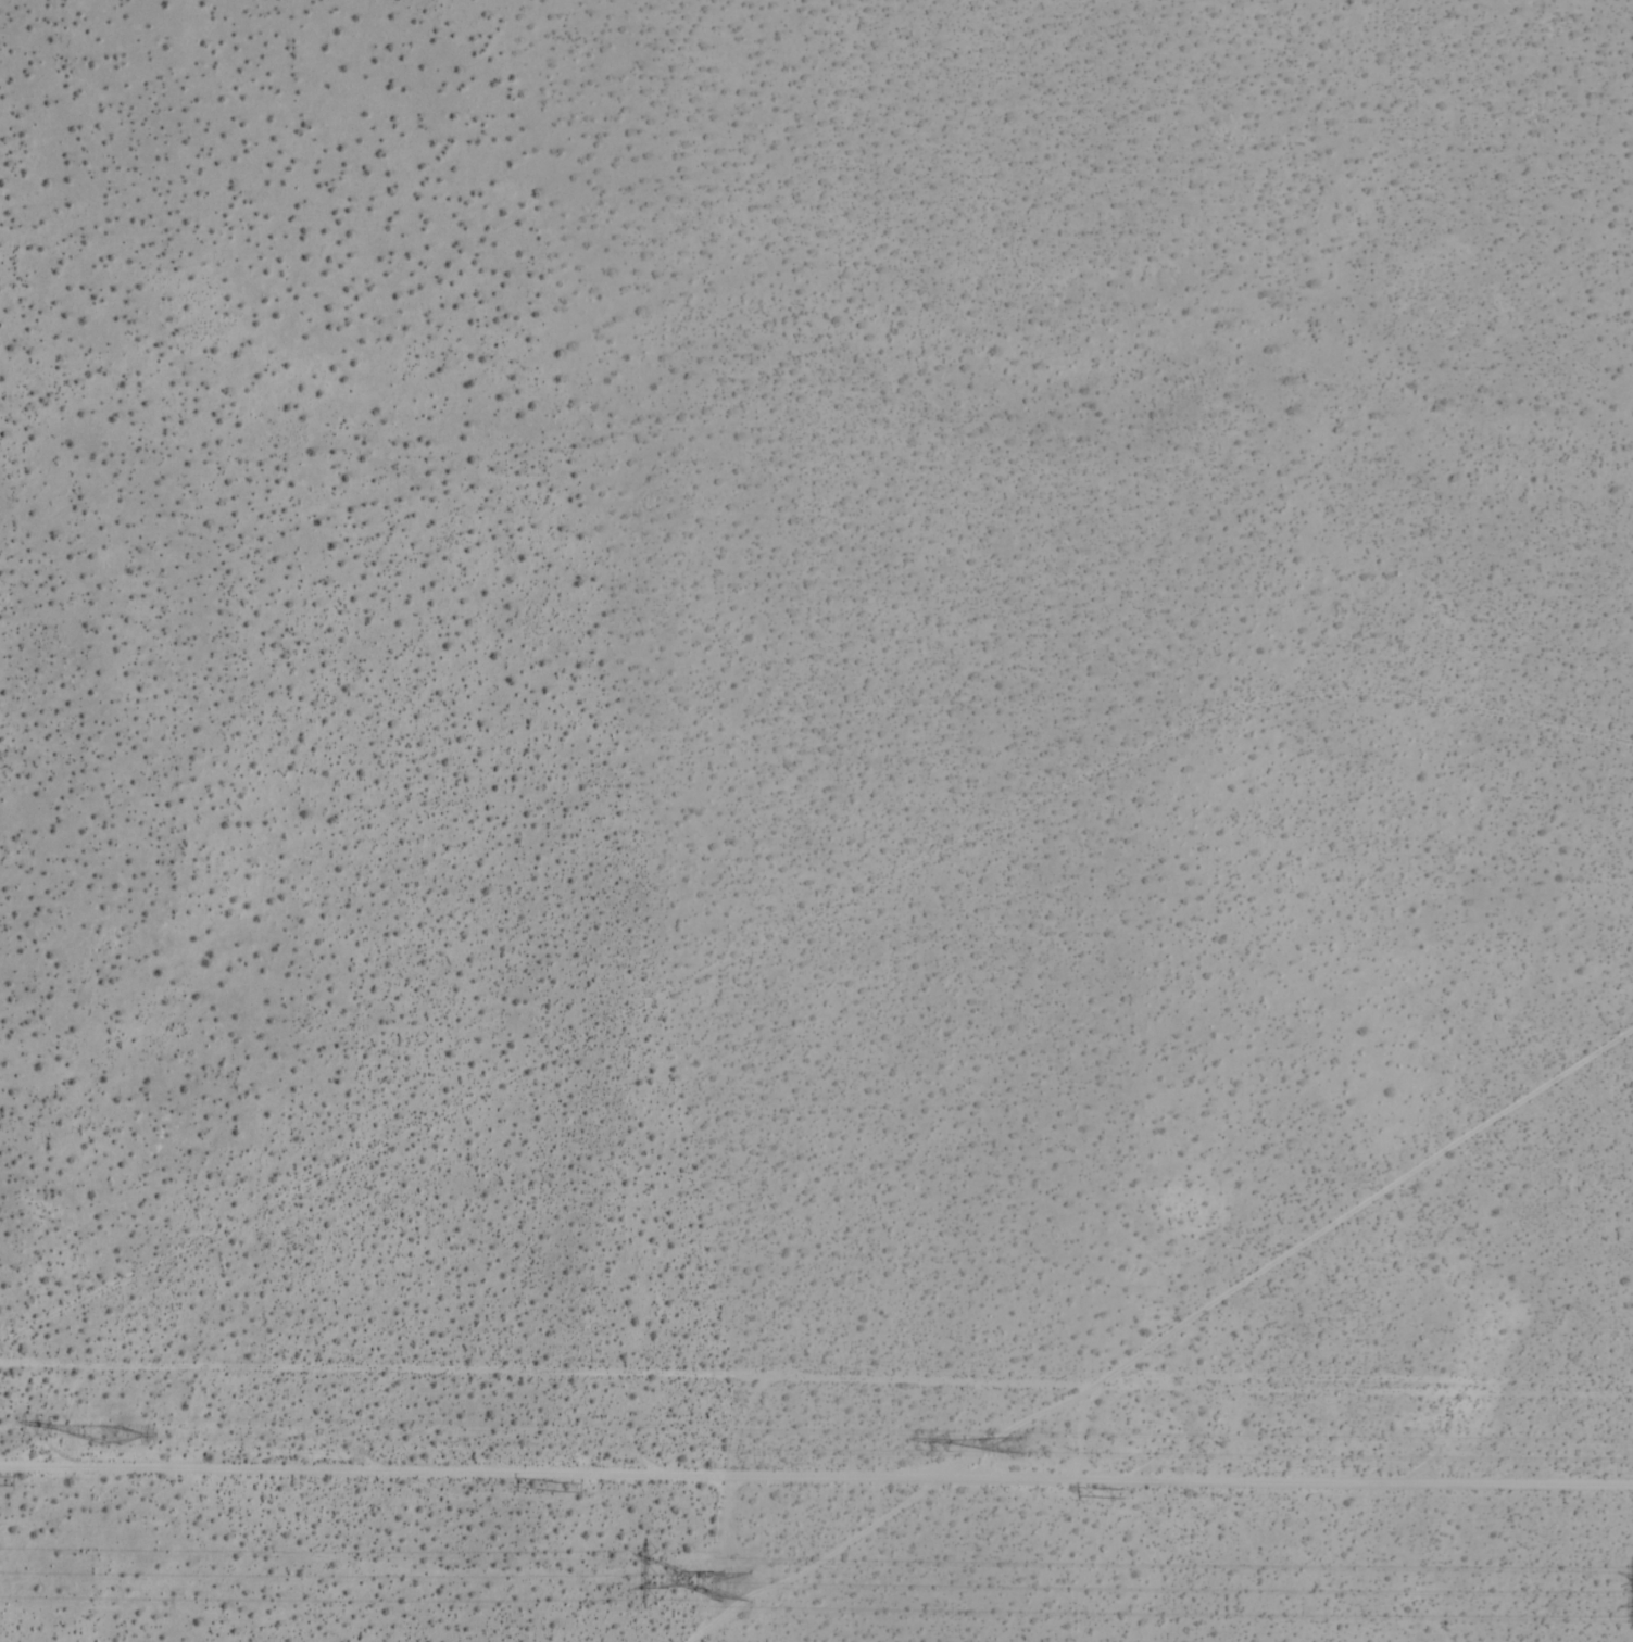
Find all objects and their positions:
road: (1163, 1332)
power tower: (110, 1436)
power tower: (1043, 1455)
road: (816, 1478)
power tower: (563, 1490)
power tower: (1127, 1493)
power tower: (729, 1576)

